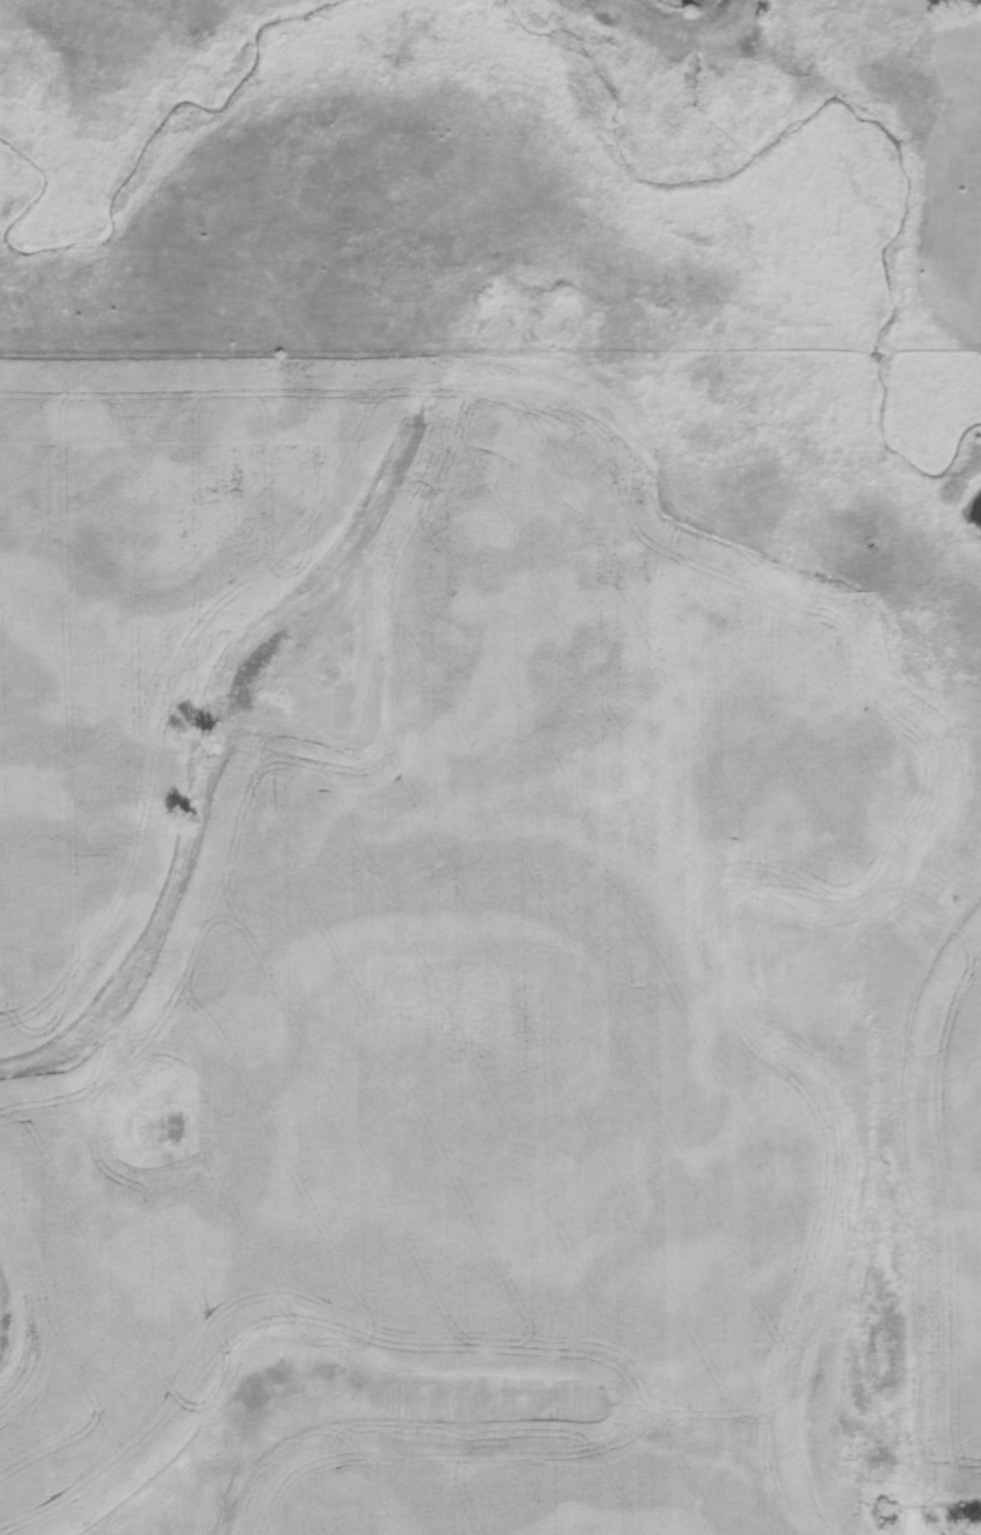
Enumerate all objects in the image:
road: (813, 282)

